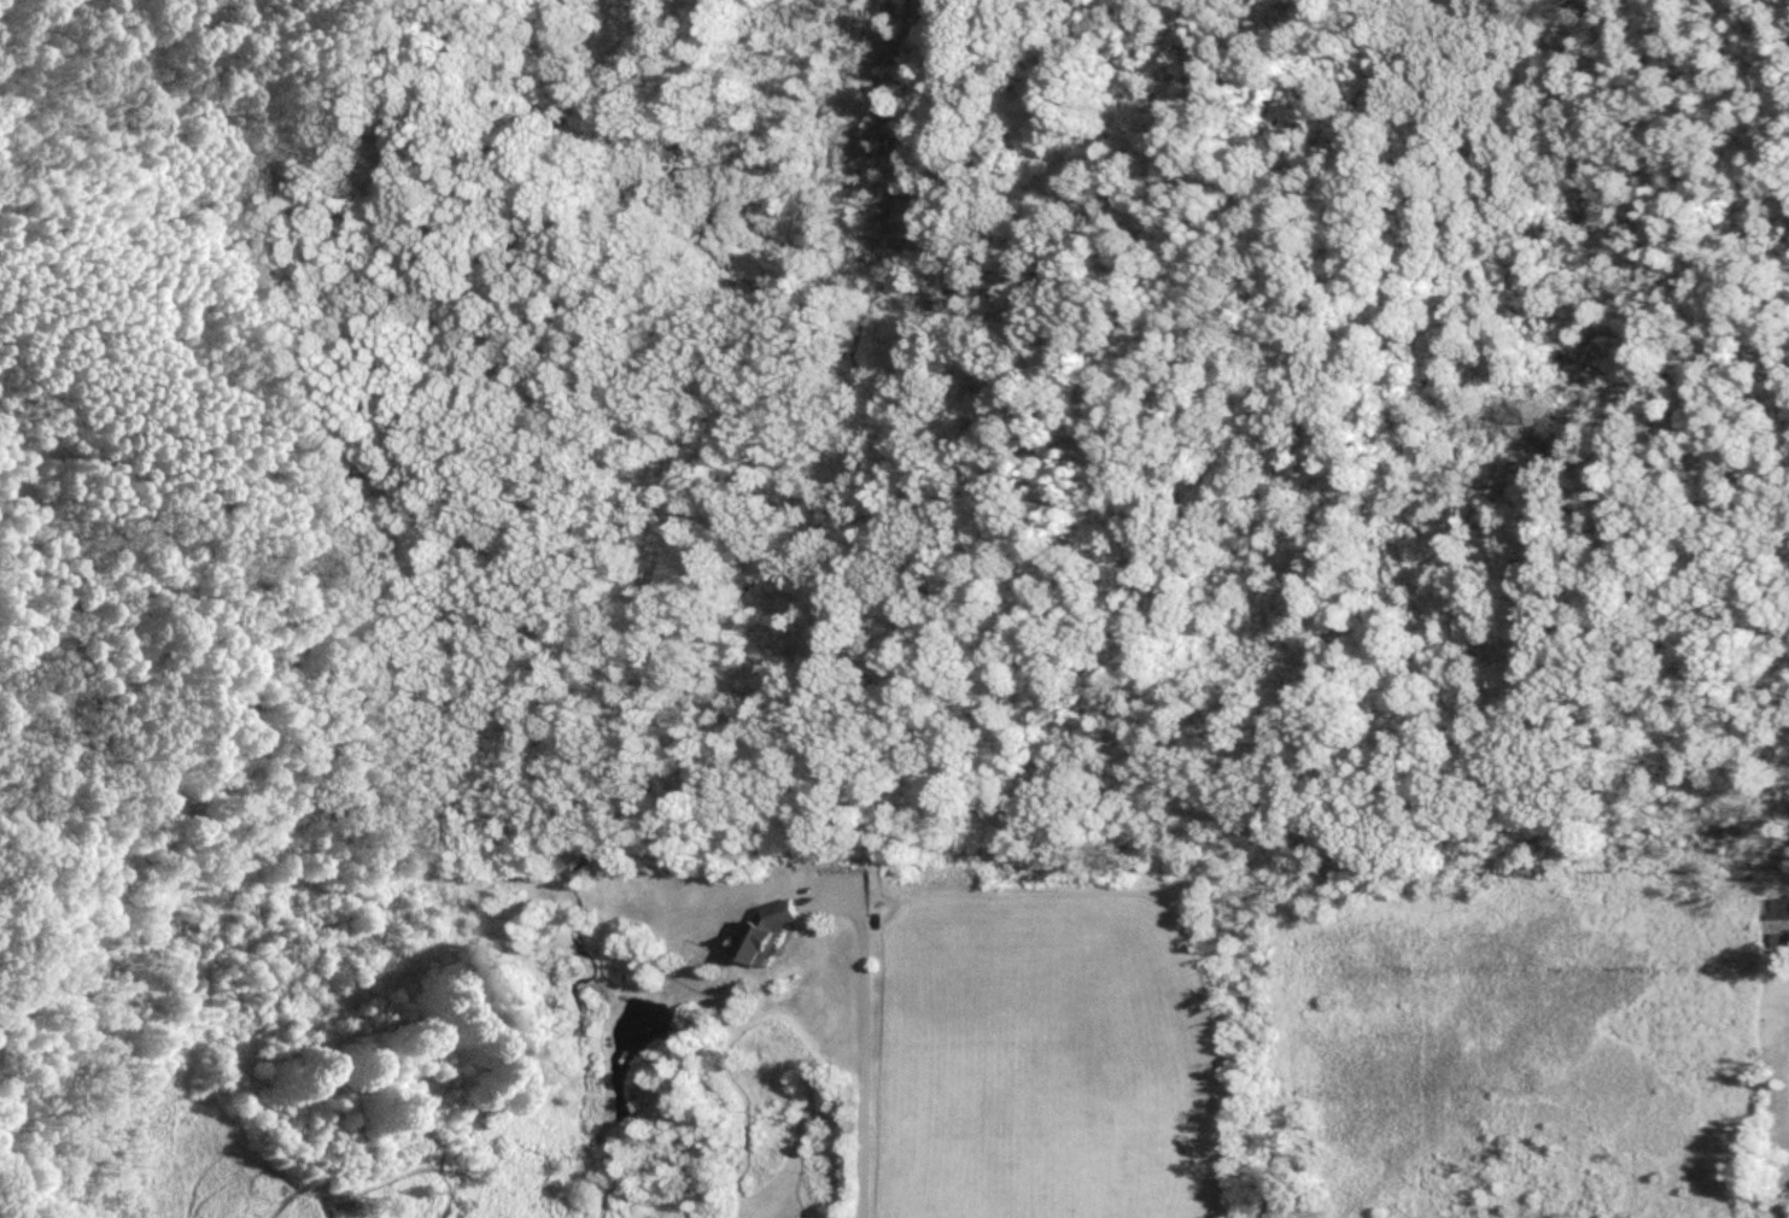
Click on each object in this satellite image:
building: (1776, 908)
building: (771, 932)
road: (859, 1062)

